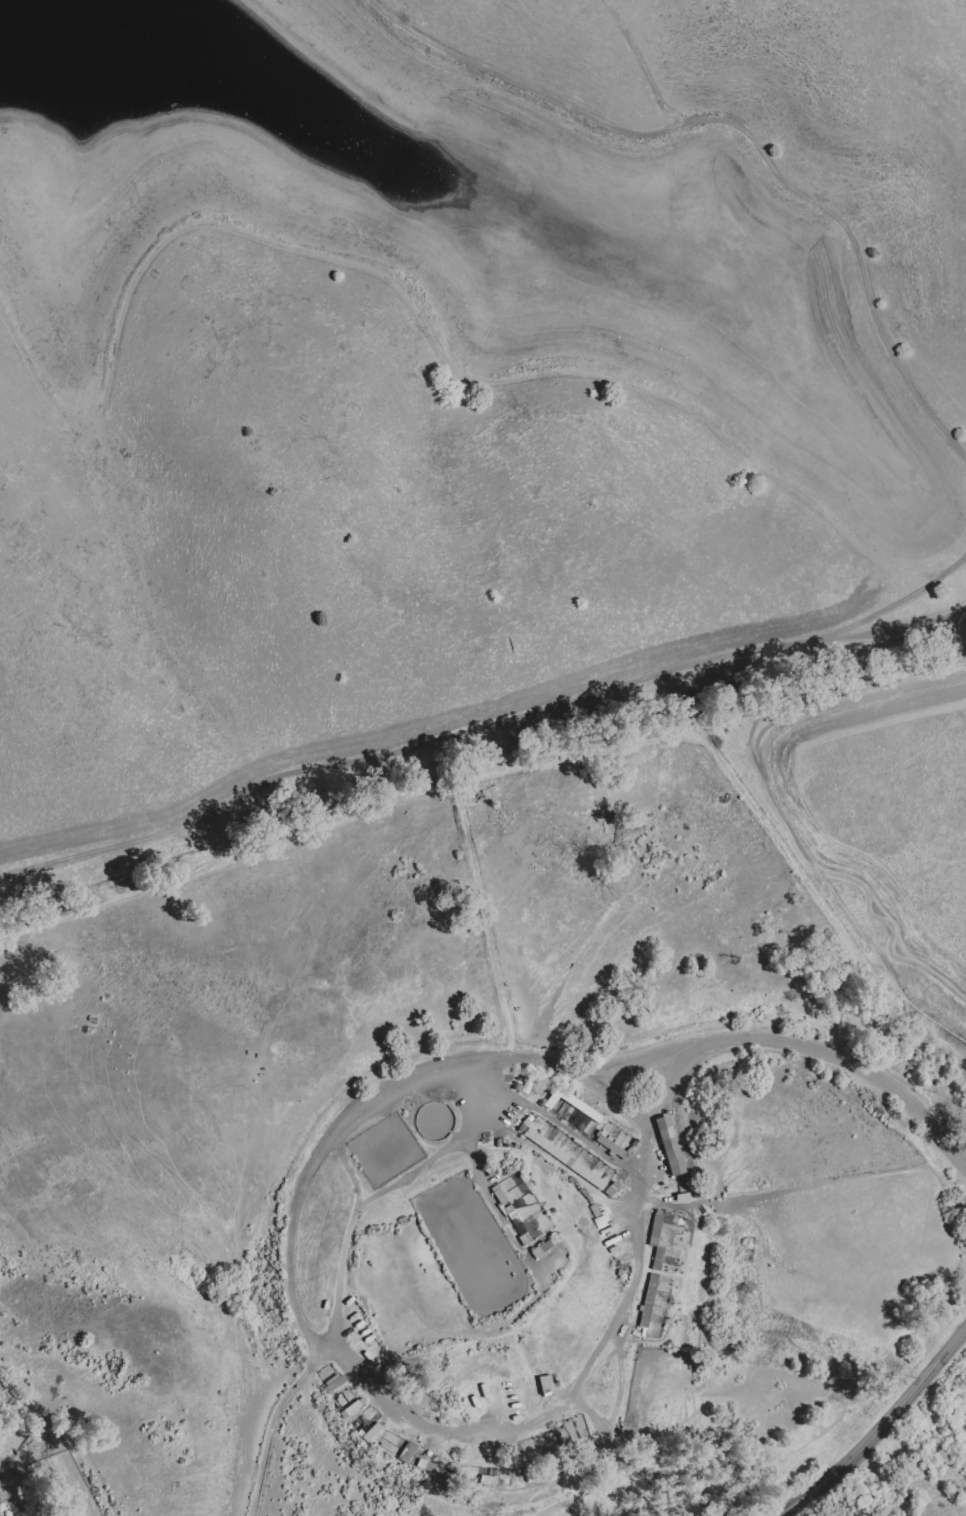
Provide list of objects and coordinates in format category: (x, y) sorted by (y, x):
road: (519, 79)
road: (815, 201)
road: (292, 249)
road: (911, 589)
road: (480, 729)
road: (581, 756)
road: (782, 815)
road: (253, 852)
road: (485, 920)
road: (896, 927)
road: (796, 1048)
building: (567, 1105)
building: (590, 1131)
building: (669, 1147)
building: (565, 1162)
road: (343, 1171)
building: (574, 1185)
road: (380, 1192)
building: (614, 1192)
building: (498, 1196)
building: (585, 1197)
building: (503, 1201)
building: (592, 1205)
building: (513, 1216)
building: (657, 1231)
building: (528, 1243)
building: (543, 1256)
building: (660, 1261)
building: (651, 1302)
road: (308, 1341)
road: (930, 1413)
road: (271, 1425)
road: (879, 1425)
building: (370, 1432)
building: (425, 1465)
building: (487, 1480)

